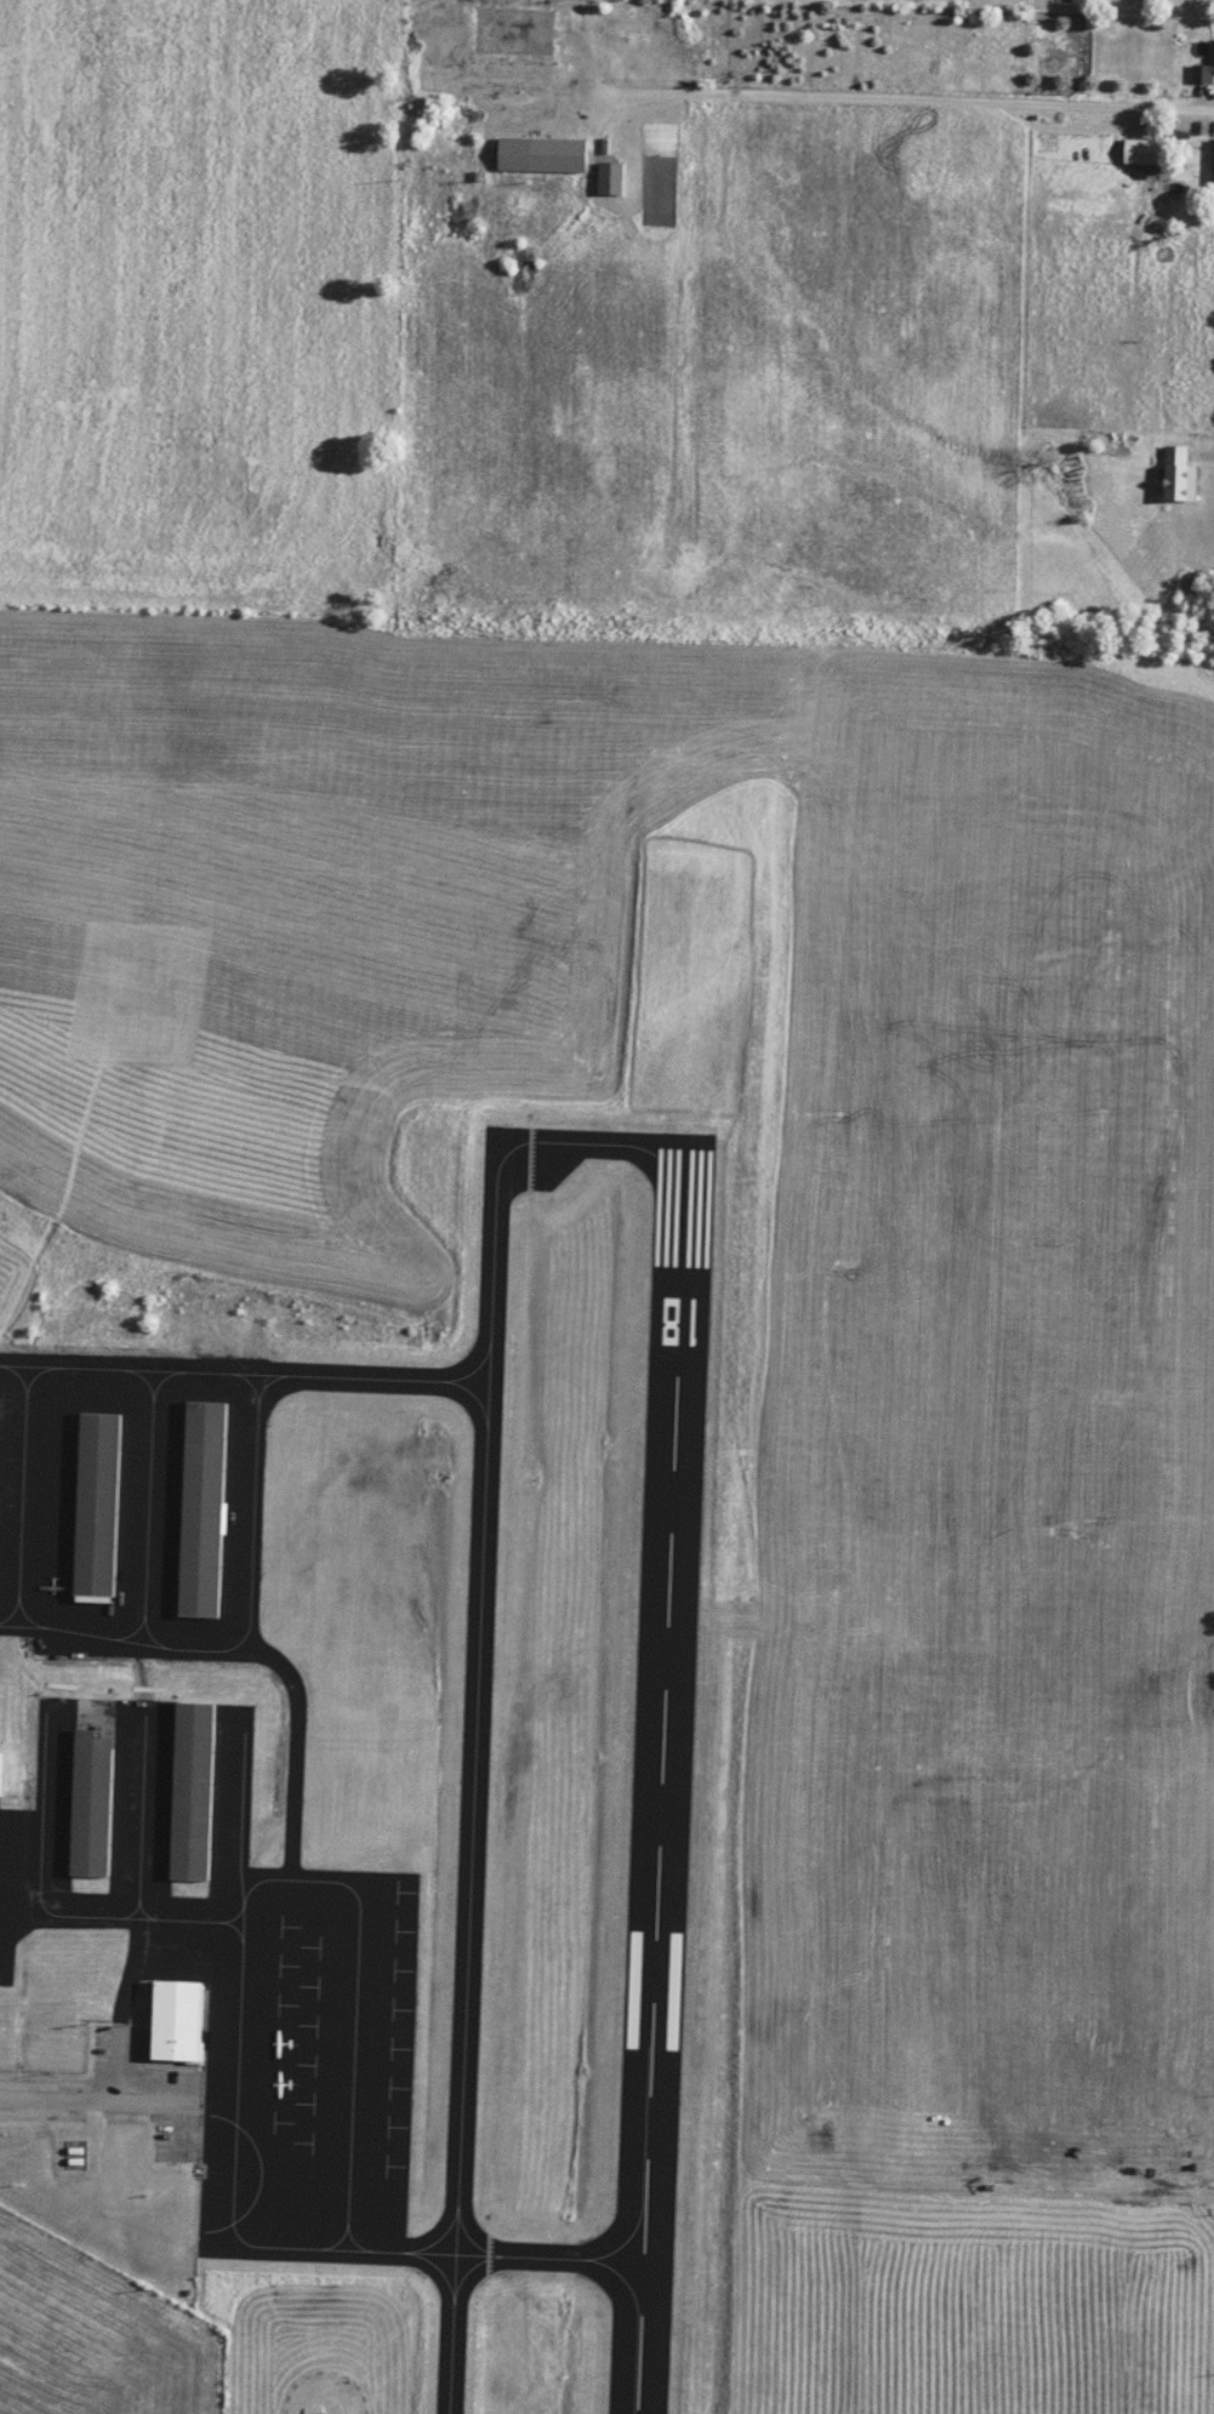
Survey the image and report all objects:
building: (519, 30)
building: (1202, 69)
building: (519, 73)
road: (899, 97)
building: (547, 153)
building: (1209, 165)
building: (616, 177)
building: (1175, 474)
airport taxiway: (244, 1368)
building: (104, 1505)
building: (210, 1510)
airport taxiway: (477, 1690)
building: (6, 1765)
airport runway: (661, 1774)
building: (98, 1787)
building: (199, 1791)
airport apron: (234, 1967)
building: (182, 2021)
road: (86, 2100)
airport taxiway: (524, 2254)

